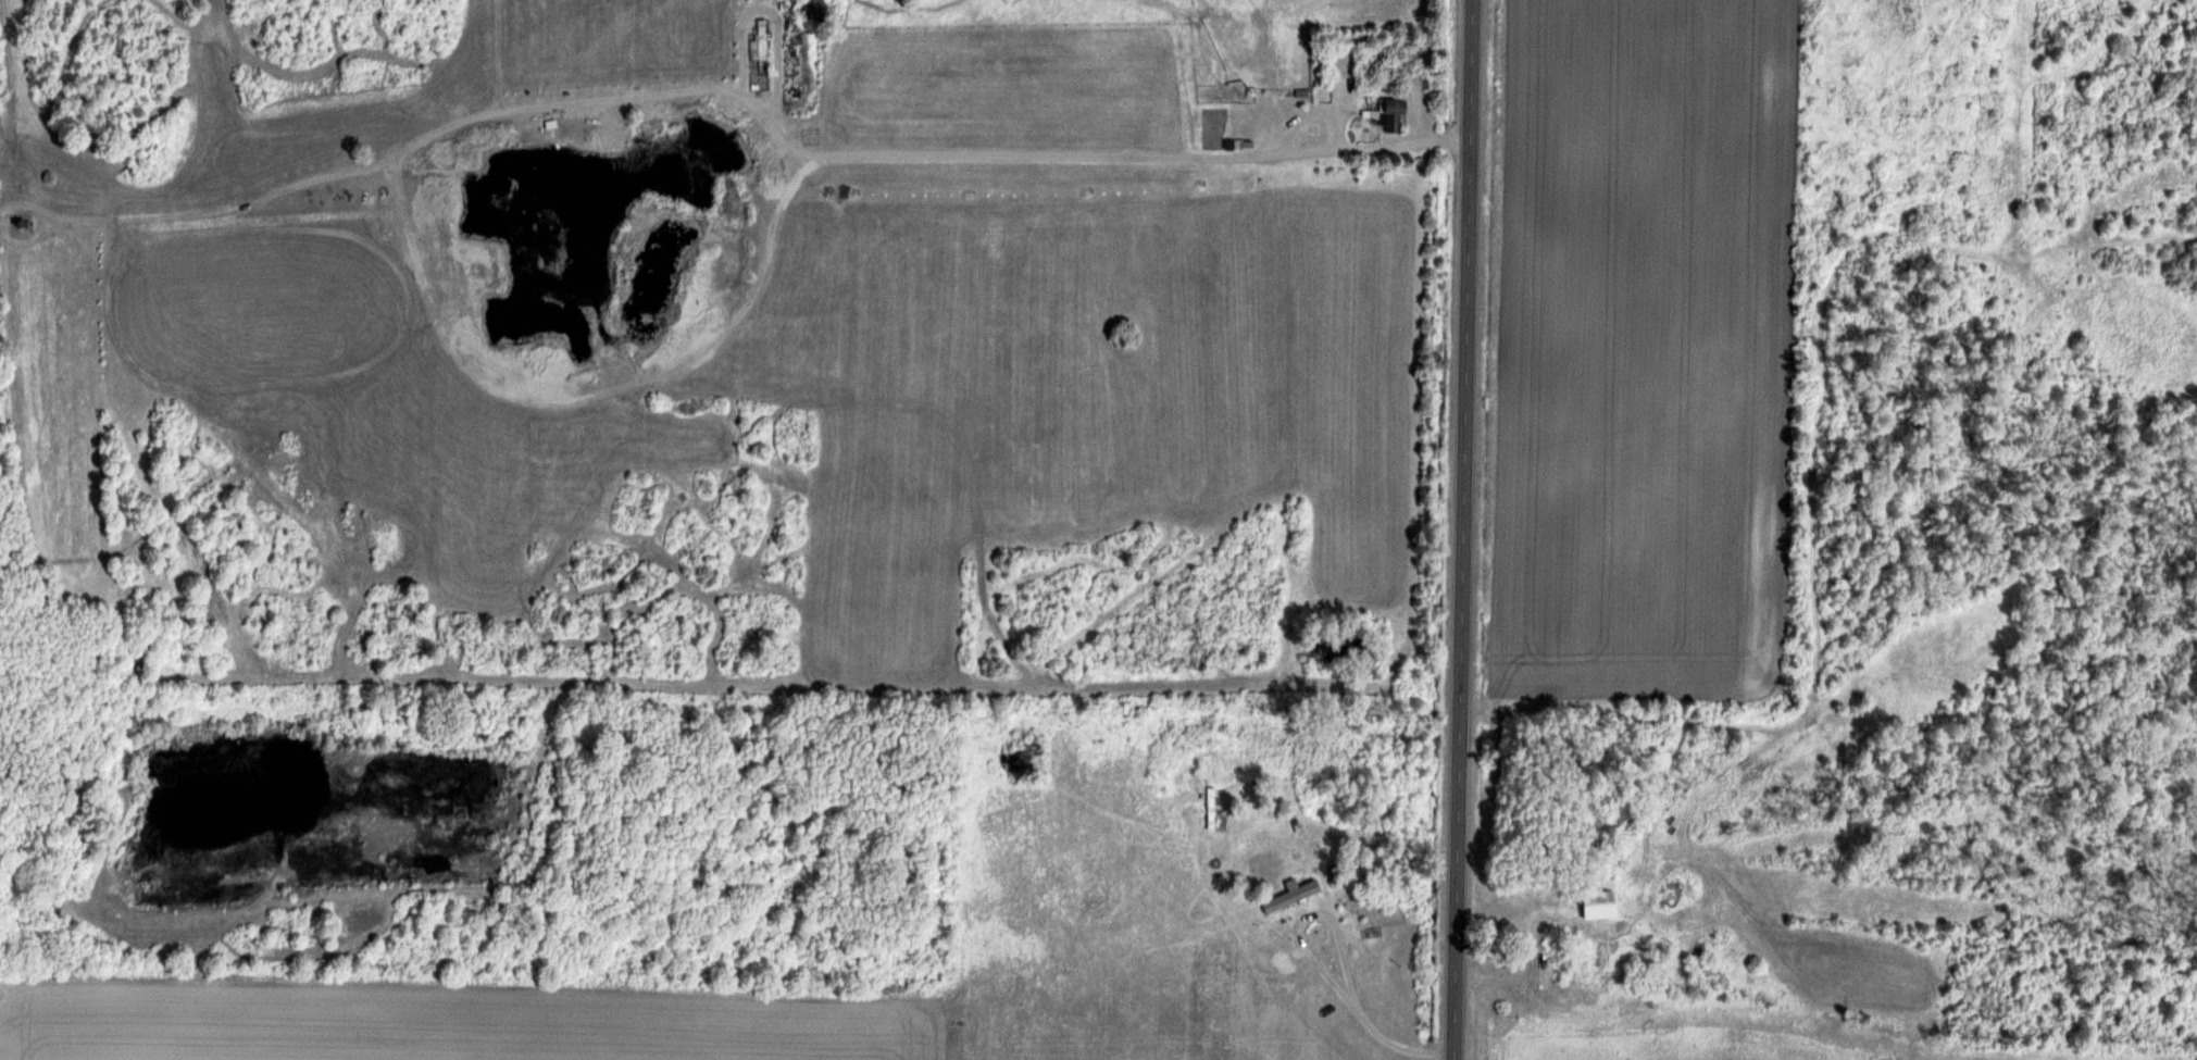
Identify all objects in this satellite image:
building: (762, 38)
building: (1232, 75)
building: (1391, 114)
building: (1313, 130)
road: (1462, 529)
building: (1600, 889)
road: (1340, 958)

